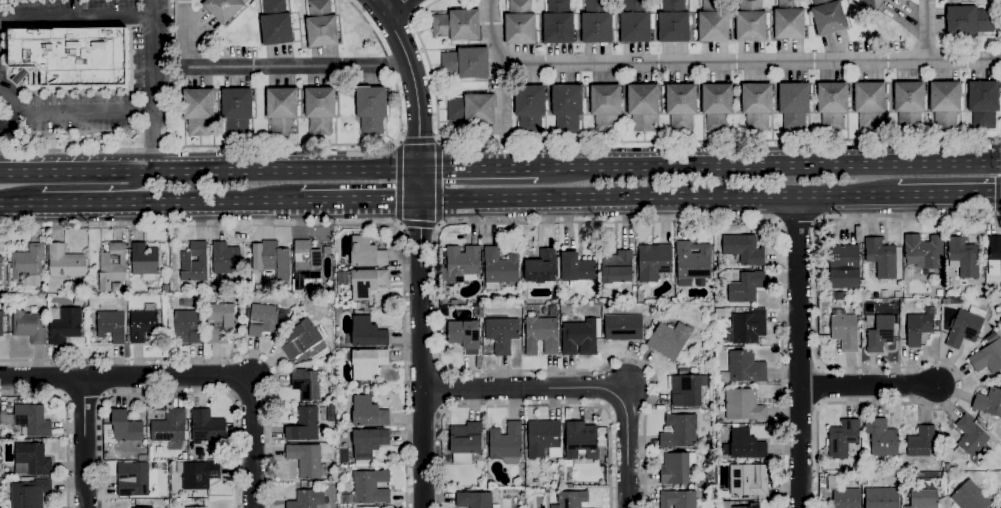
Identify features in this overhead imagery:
building: (871, 4)
road: (397, 7)
building: (222, 9)
road: (405, 10)
building: (828, 16)
road: (73, 18)
building: (789, 20)
building: (968, 21)
building: (558, 22)
building: (635, 22)
building: (673, 22)
building: (751, 22)
building: (520, 23)
building: (597, 23)
building: (713, 23)
building: (276, 24)
building: (320, 25)
building: (457, 25)
road: (371, 30)
road: (925, 31)
building: (69, 57)
road: (500, 62)
road: (751, 62)
building: (466, 63)
road: (263, 67)
road: (149, 85)
road: (434, 93)
building: (945, 103)
building: (983, 103)
building: (869, 104)
building: (909, 104)
building: (832, 105)
building: (643, 106)
building: (717, 106)
building: (757, 106)
building: (794, 106)
building: (567, 107)
building: (605, 107)
building: (681, 107)
building: (371, 108)
building: (530, 108)
road: (69, 109)
building: (471, 109)
building: (281, 110)
building: (320, 110)
building: (198, 111)
building: (237, 111)
road: (10, 118)
road: (999, 138)
road: (748, 141)
road: (416, 142)
road: (238, 148)
road: (773, 163)
road: (482, 165)
road: (209, 167)
road: (90, 188)
road: (949, 196)
road: (658, 199)
road: (356, 204)
road: (154, 205)
road: (8, 206)
road: (796, 222)
road: (500, 223)
road: (341, 224)
road: (419, 227)
road: (421, 248)
building: (744, 249)
building: (923, 252)
building: (366, 253)
building: (994, 256)
building: (881, 257)
building: (963, 257)
building: (226, 259)
building: (693, 260)
building: (275, 261)
building: (66, 262)
building: (144, 262)
building: (653, 262)
building: (194, 263)
building: (305, 264)
building: (461, 264)
building: (28, 265)
building: (112, 267)
building: (843, 267)
building: (499, 268)
building: (1, 269)
building: (616, 269)
building: (541, 270)
building: (576, 270)
building: (343, 278)
building: (681, 282)
building: (367, 283)
building: (116, 287)
building: (746, 287)
building: (207, 288)
building: (202, 295)
building: (840, 295)
building: (897, 295)
building: (444, 300)
building: (478, 301)
building: (83, 302)
building: (454, 302)
building: (945, 302)
building: (364, 305)
building: (476, 311)
building: (283, 313)
building: (262, 320)
building: (1, 322)
building: (219, 322)
building: (187, 325)
building: (29, 326)
building: (65, 326)
building: (111, 326)
building: (142, 326)
building: (623, 327)
building: (748, 327)
building: (917, 328)
building: (965, 328)
building: (708, 329)
building: (845, 331)
building: (367, 332)
building: (502, 334)
building: (880, 334)
building: (465, 335)
building: (541, 335)
building: (443, 336)
building: (579, 337)
building: (300, 339)
building: (669, 339)
road: (799, 352)
building: (988, 355)
road: (211, 358)
building: (367, 362)
building: (743, 368)
road: (862, 368)
road: (125, 377)
building: (305, 385)
building: (357, 385)
road: (868, 387)
road: (585, 388)
building: (361, 390)
road: (442, 390)
building: (687, 390)
road: (169, 394)
road: (84, 398)
building: (323, 399)
building: (989, 402)
building: (741, 404)
road: (524, 406)
building: (368, 412)
building: (28, 419)
road: (66, 421)
building: (304, 425)
building: (207, 427)
building: (122, 428)
building: (170, 428)
building: (679, 431)
building: (881, 437)
building: (843, 438)
building: (543, 439)
building: (581, 440)
building: (971, 440)
building: (921, 441)
road: (251, 442)
building: (369, 442)
building: (465, 442)
road: (83, 443)
building: (506, 443)
building: (745, 444)
building: (135, 449)
building: (159, 449)
building: (184, 456)
building: (142, 458)
building: (32, 460)
building: (307, 461)
building: (891, 463)
building: (361, 465)
building: (676, 468)
building: (198, 474)
building: (748, 480)
building: (864, 481)
building: (134, 482)
building: (479, 482)
building: (310, 484)
building: (371, 487)
building: (29, 493)
building: (842, 493)
building: (970, 497)
building: (882, 498)
building: (307, 499)
building: (571, 499)
building: (677, 499)
building: (923, 499)
building: (474, 500)
building: (754, 505)
building: (145, 507)
building: (194, 507)

